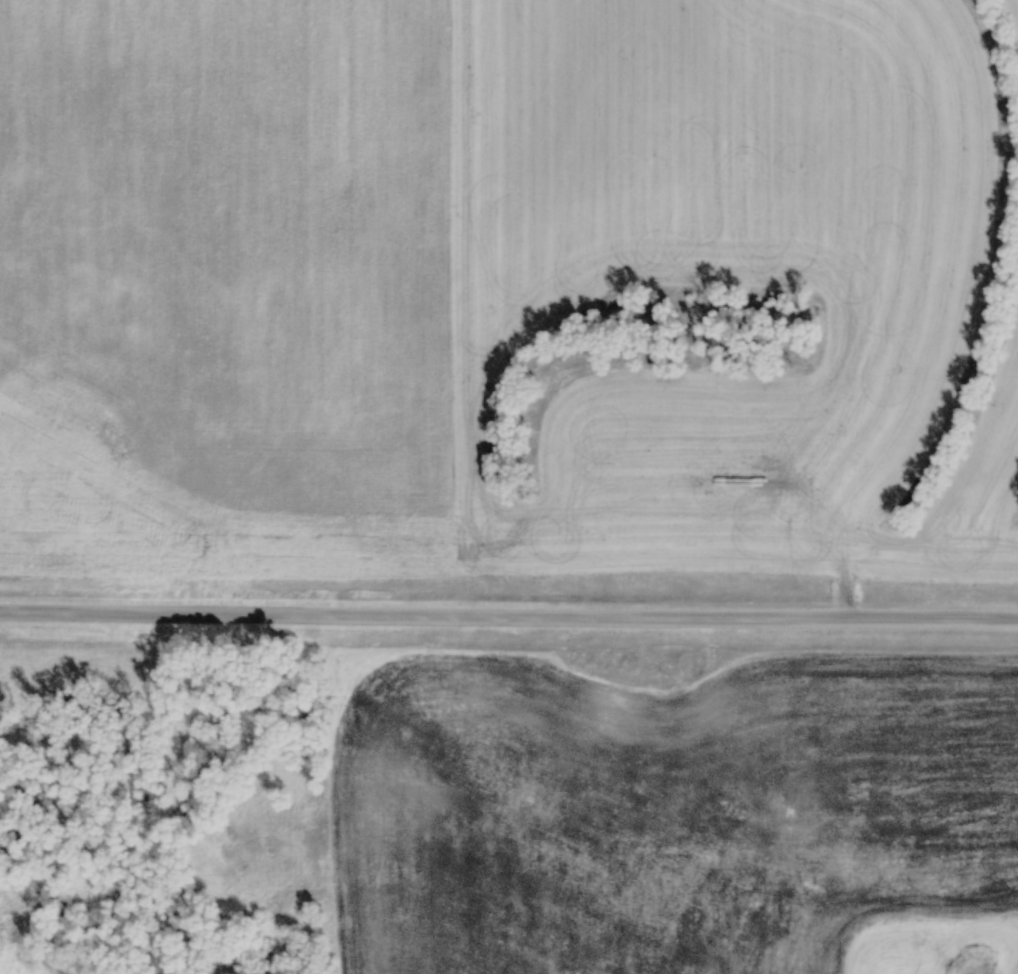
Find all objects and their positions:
road: (509, 616)

